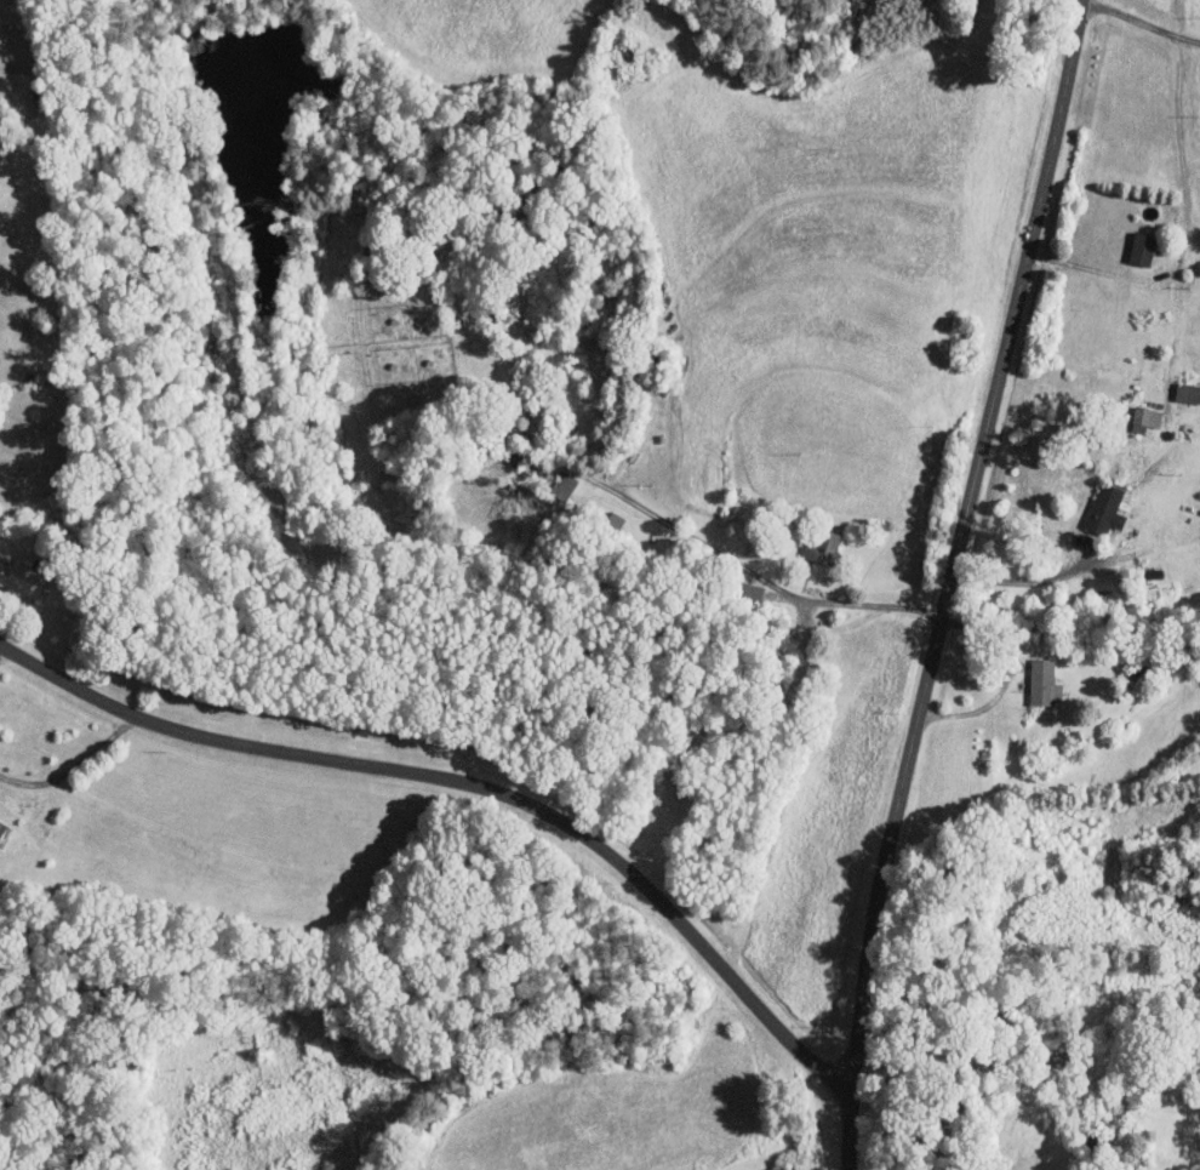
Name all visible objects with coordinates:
road: (1139, 21)
road: (1187, 230)
building: (1141, 249)
building: (1187, 392)
building: (1144, 416)
building: (1103, 507)
building: (821, 546)
road: (760, 576)
road: (1024, 577)
building: (21, 578)
road: (950, 582)
road: (0, 647)
road: (1004, 678)
building: (1042, 680)
road: (73, 764)
road: (468, 786)
building: (782, 1168)

